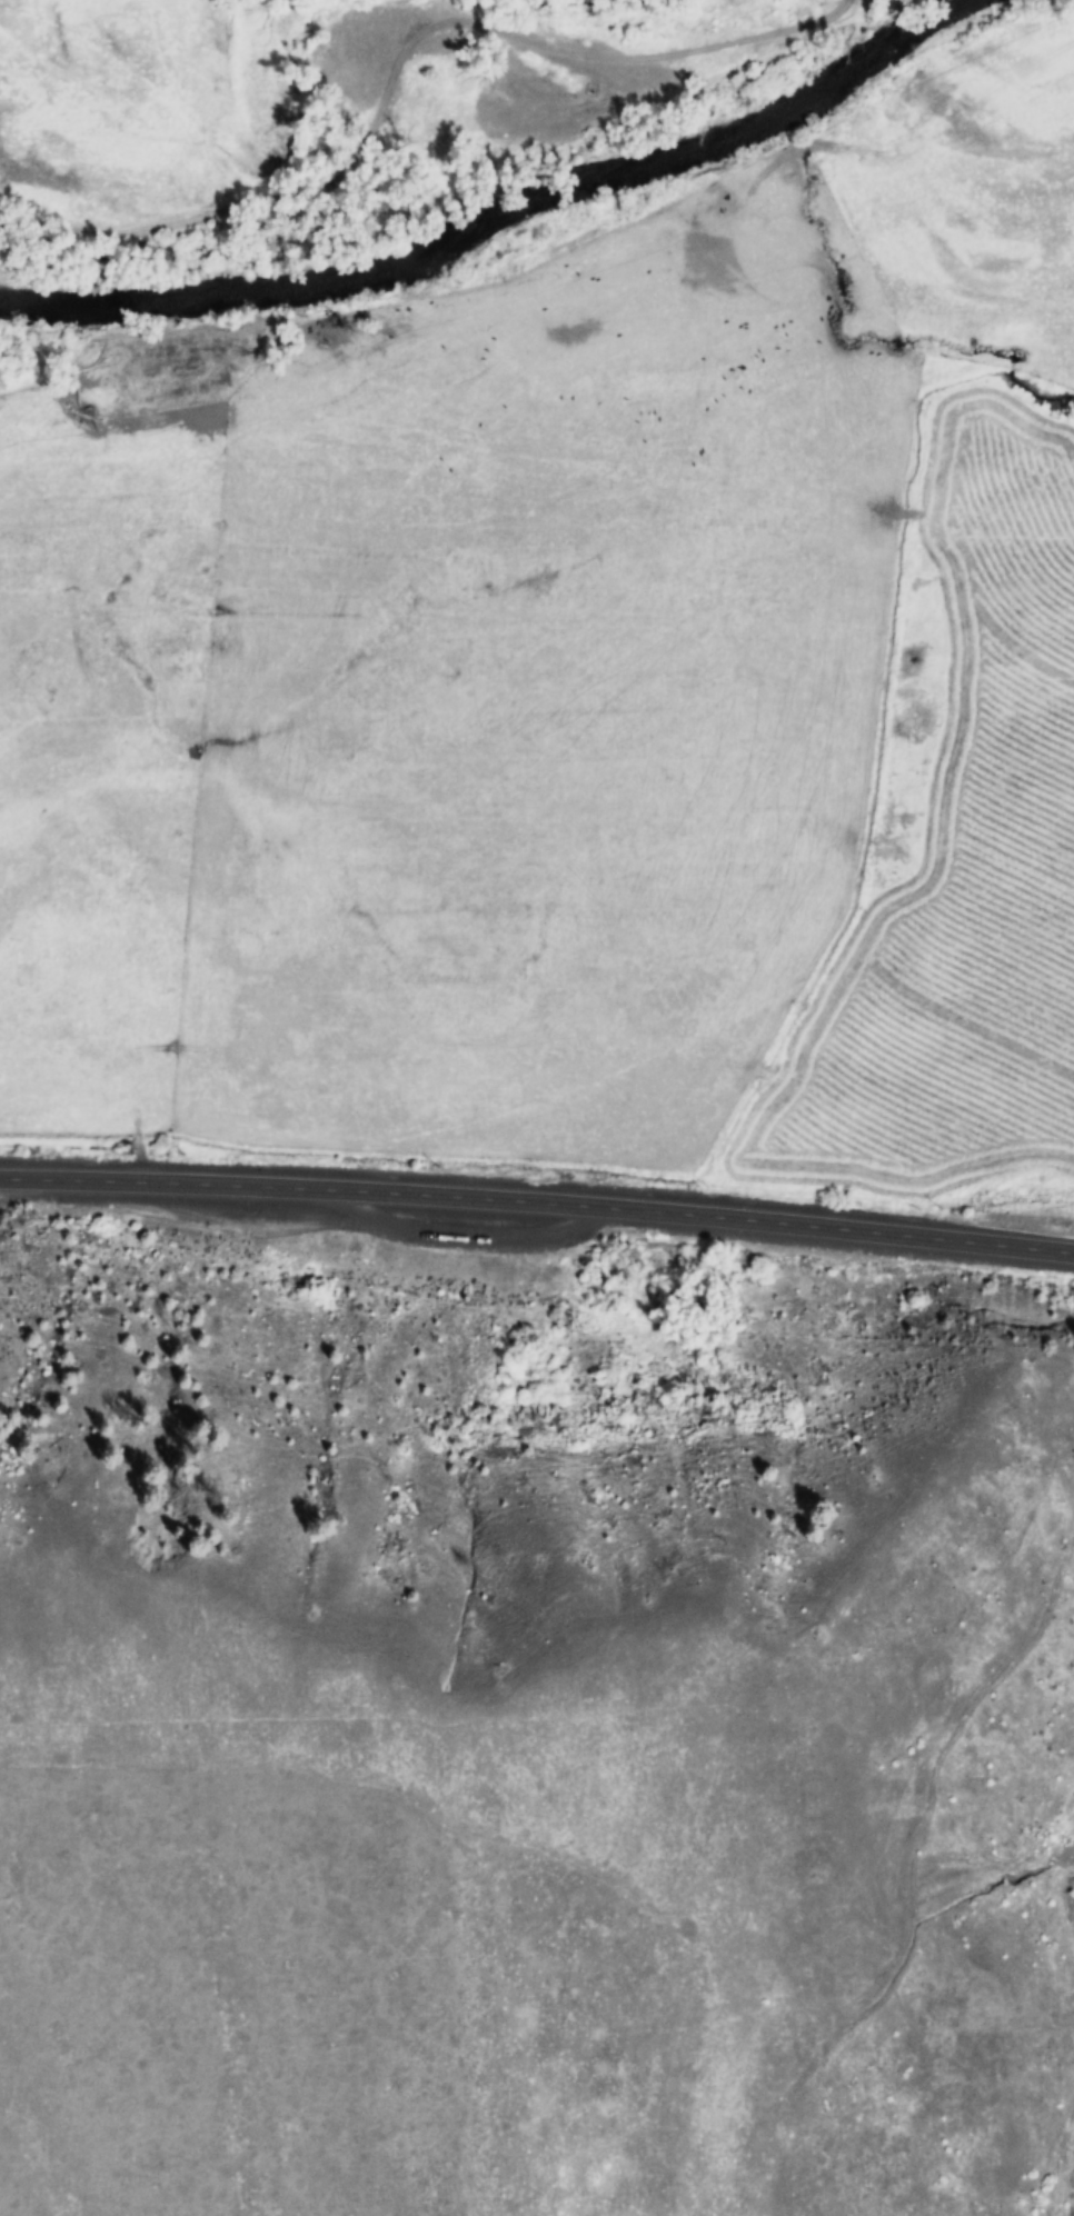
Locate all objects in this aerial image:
river: (503, 218)
road: (537, 1205)
parking lot: (499, 1255)

